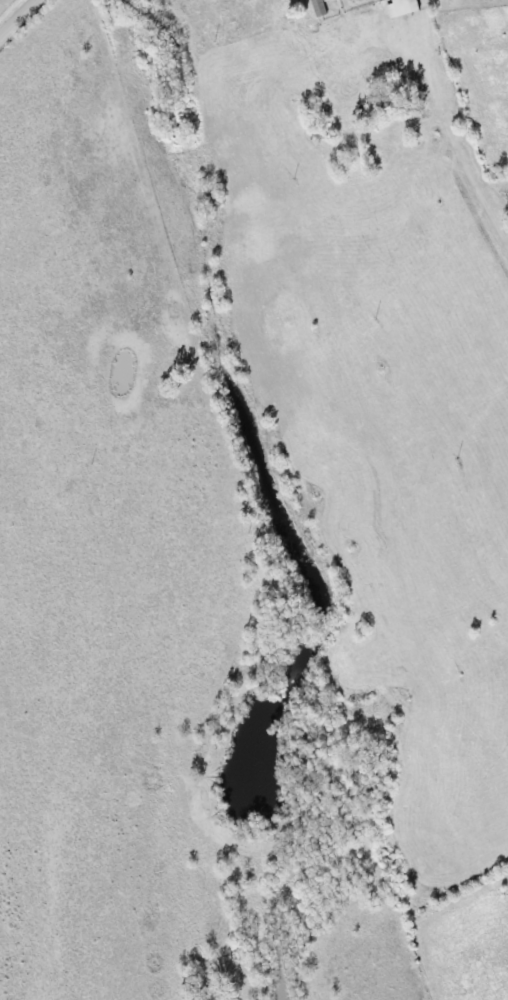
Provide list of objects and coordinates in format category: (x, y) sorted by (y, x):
building: (407, 7)
building: (320, 8)
road: (13, 13)

